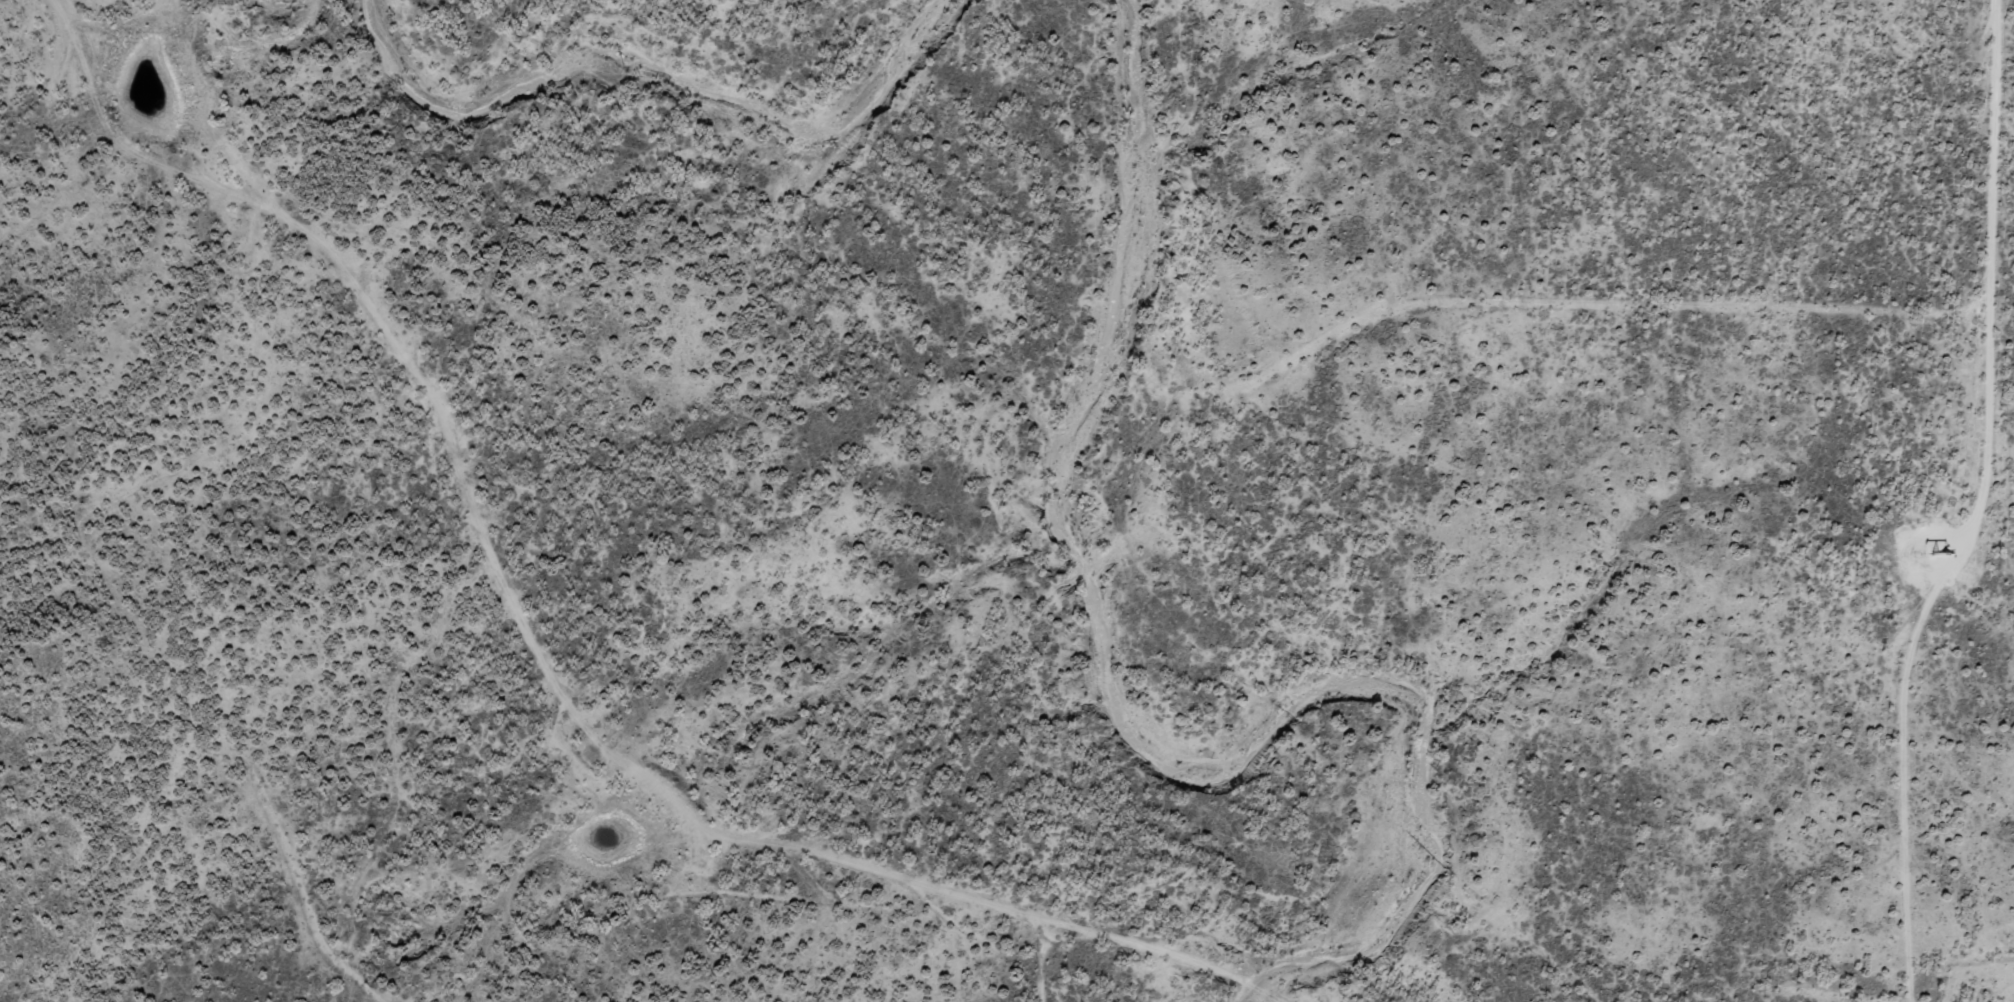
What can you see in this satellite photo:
road: (1541, 298)
road: (1960, 525)

